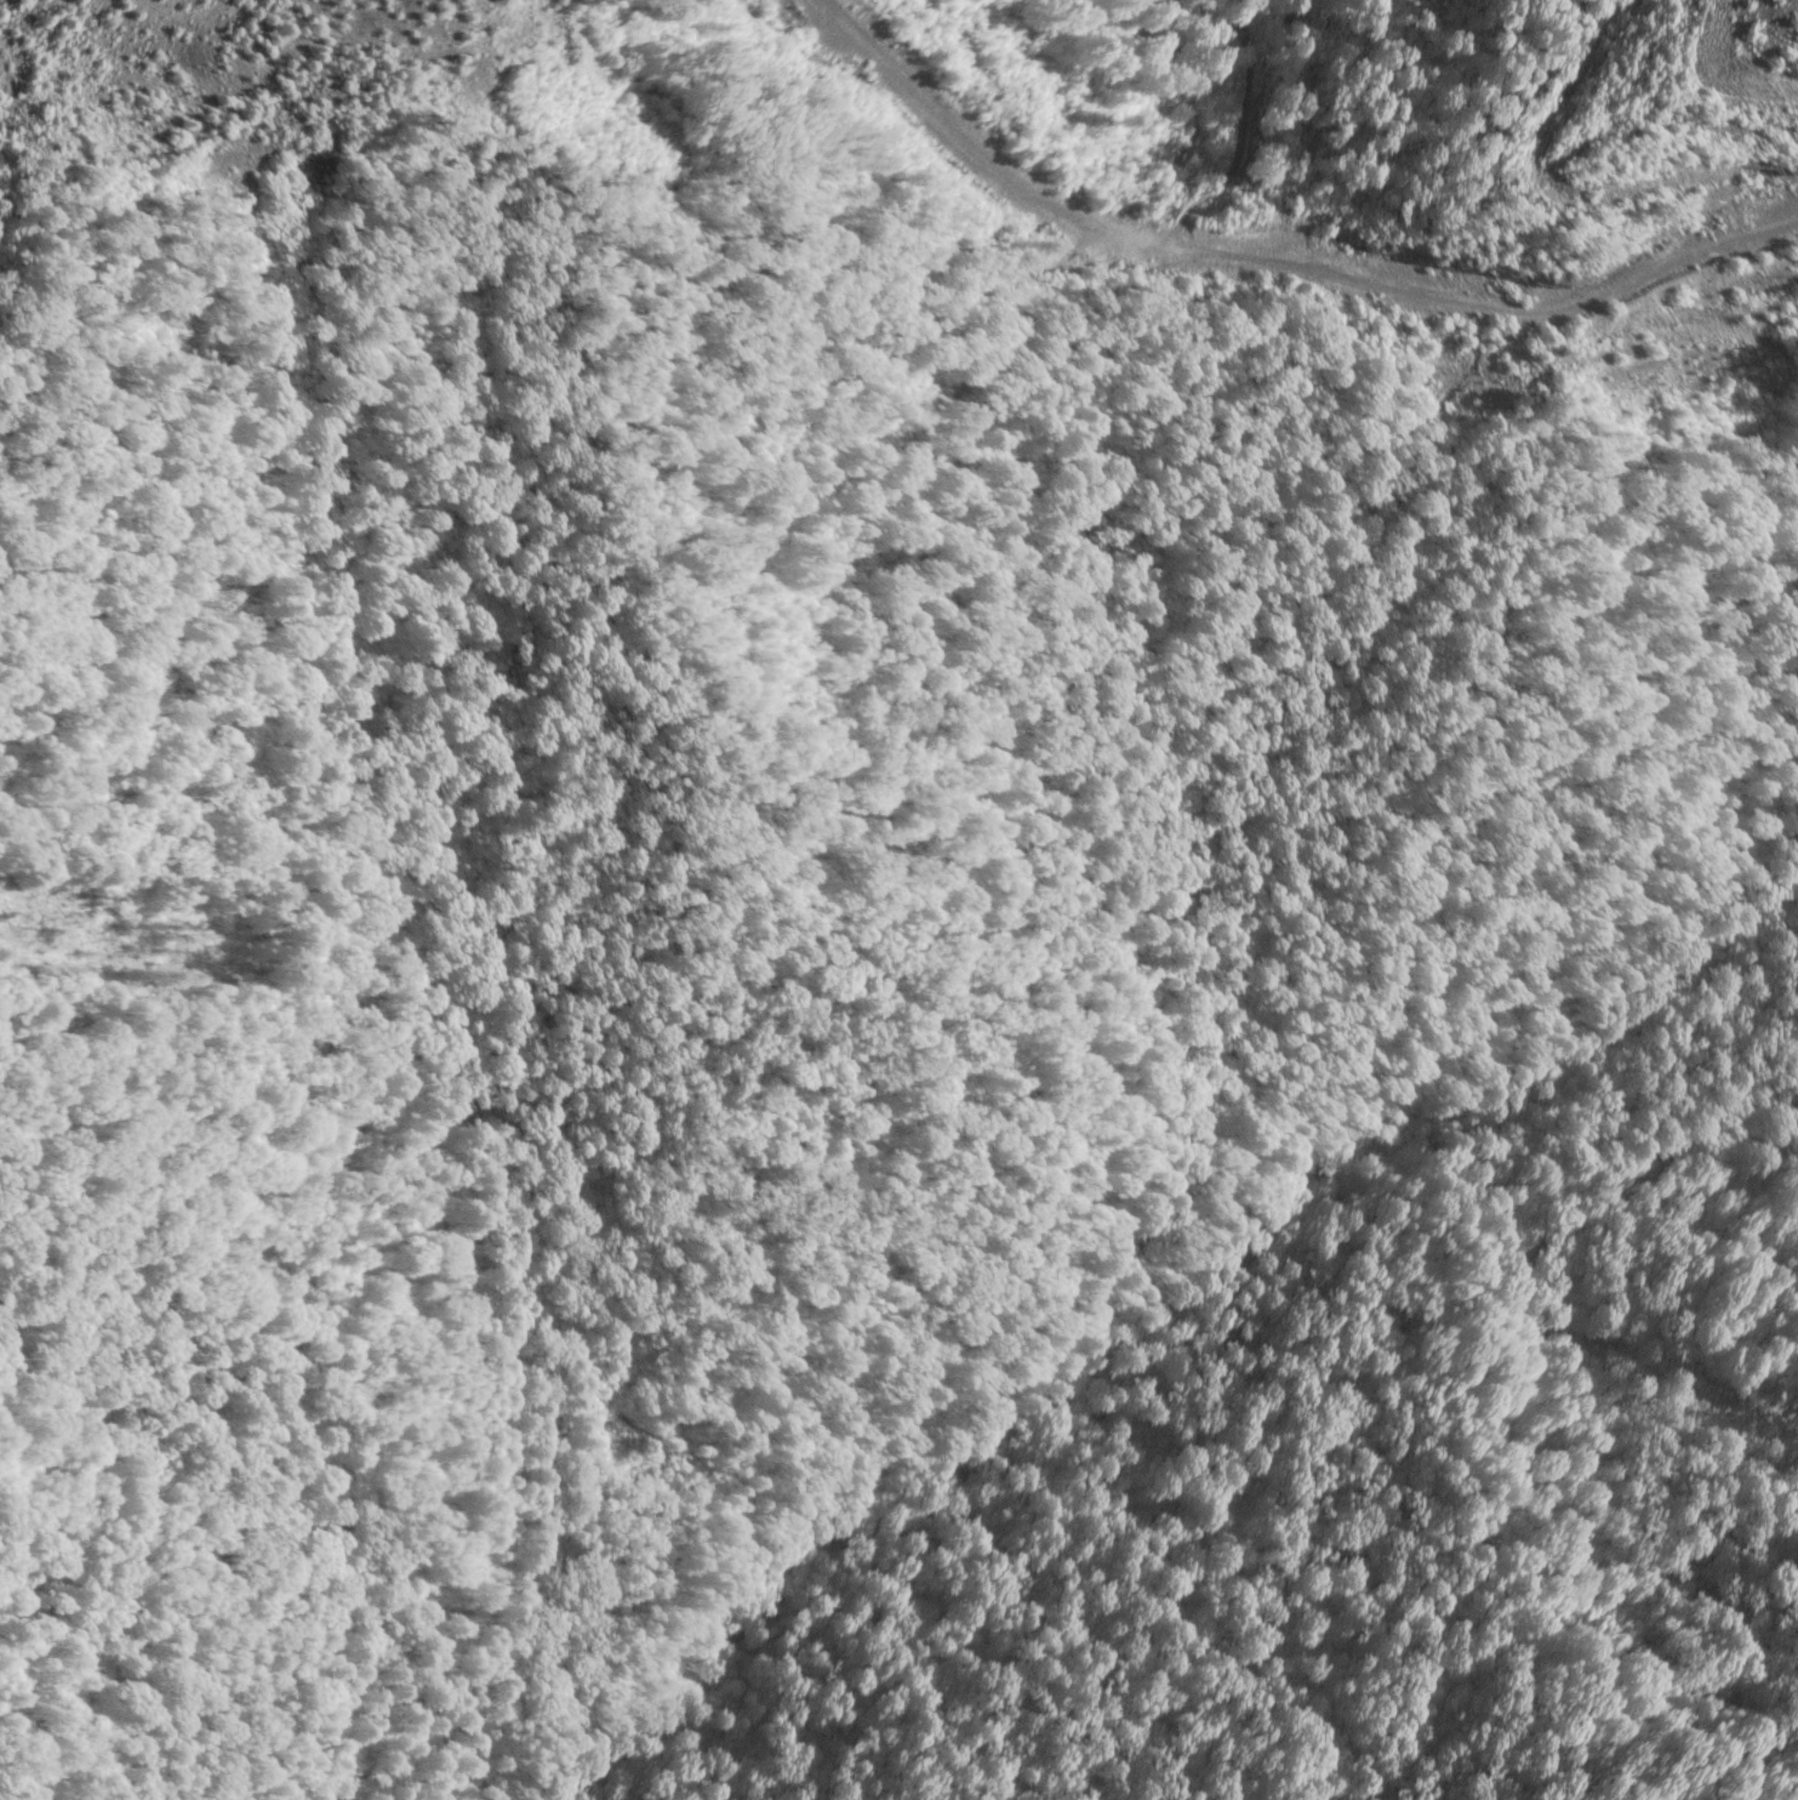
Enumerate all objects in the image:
road: (971, 61)

